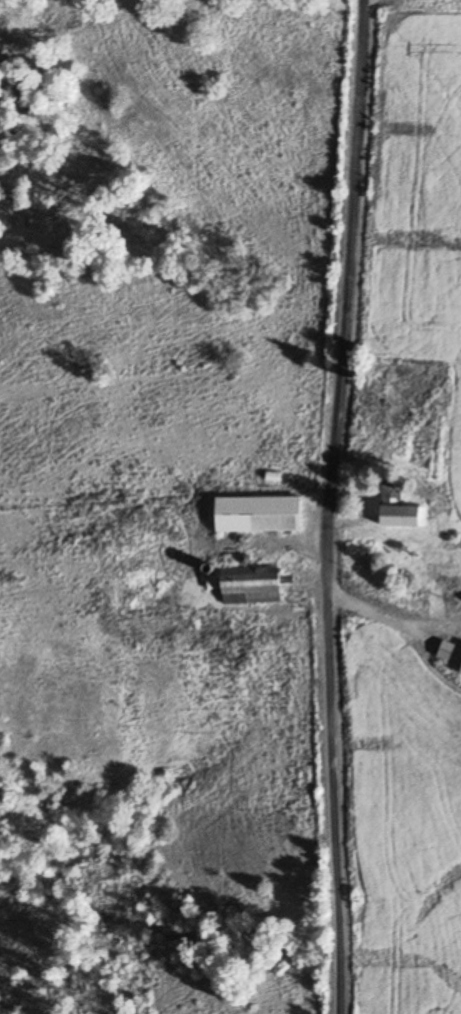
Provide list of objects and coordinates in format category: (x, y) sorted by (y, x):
building: (393, 505)
road: (333, 506)
building: (260, 515)
building: (435, 566)
building: (250, 584)

